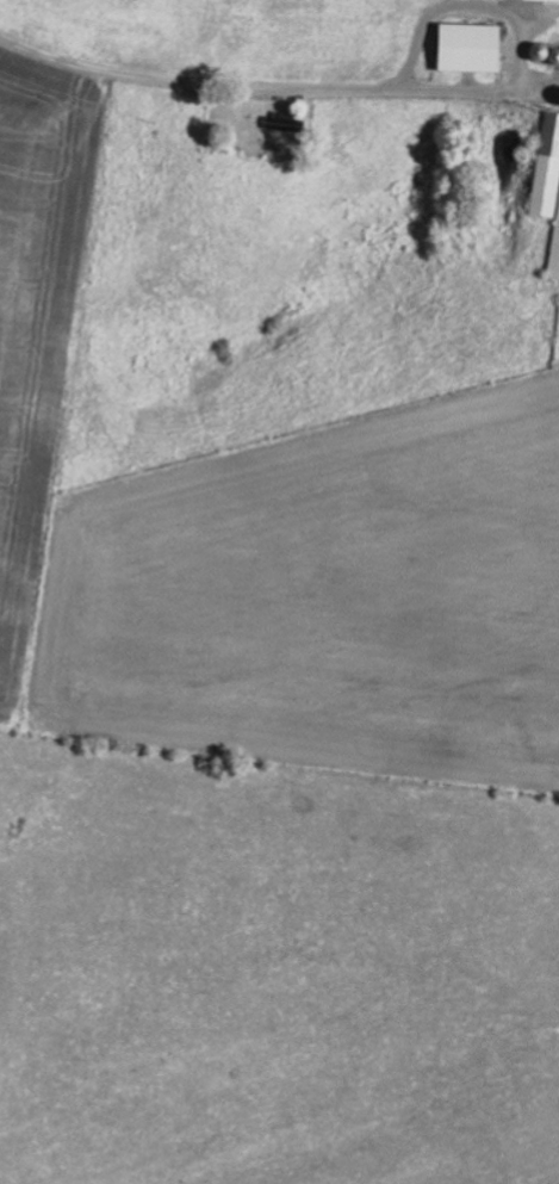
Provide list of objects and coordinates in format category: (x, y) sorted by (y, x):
building: (473, 45)
road: (206, 82)
building: (549, 179)

